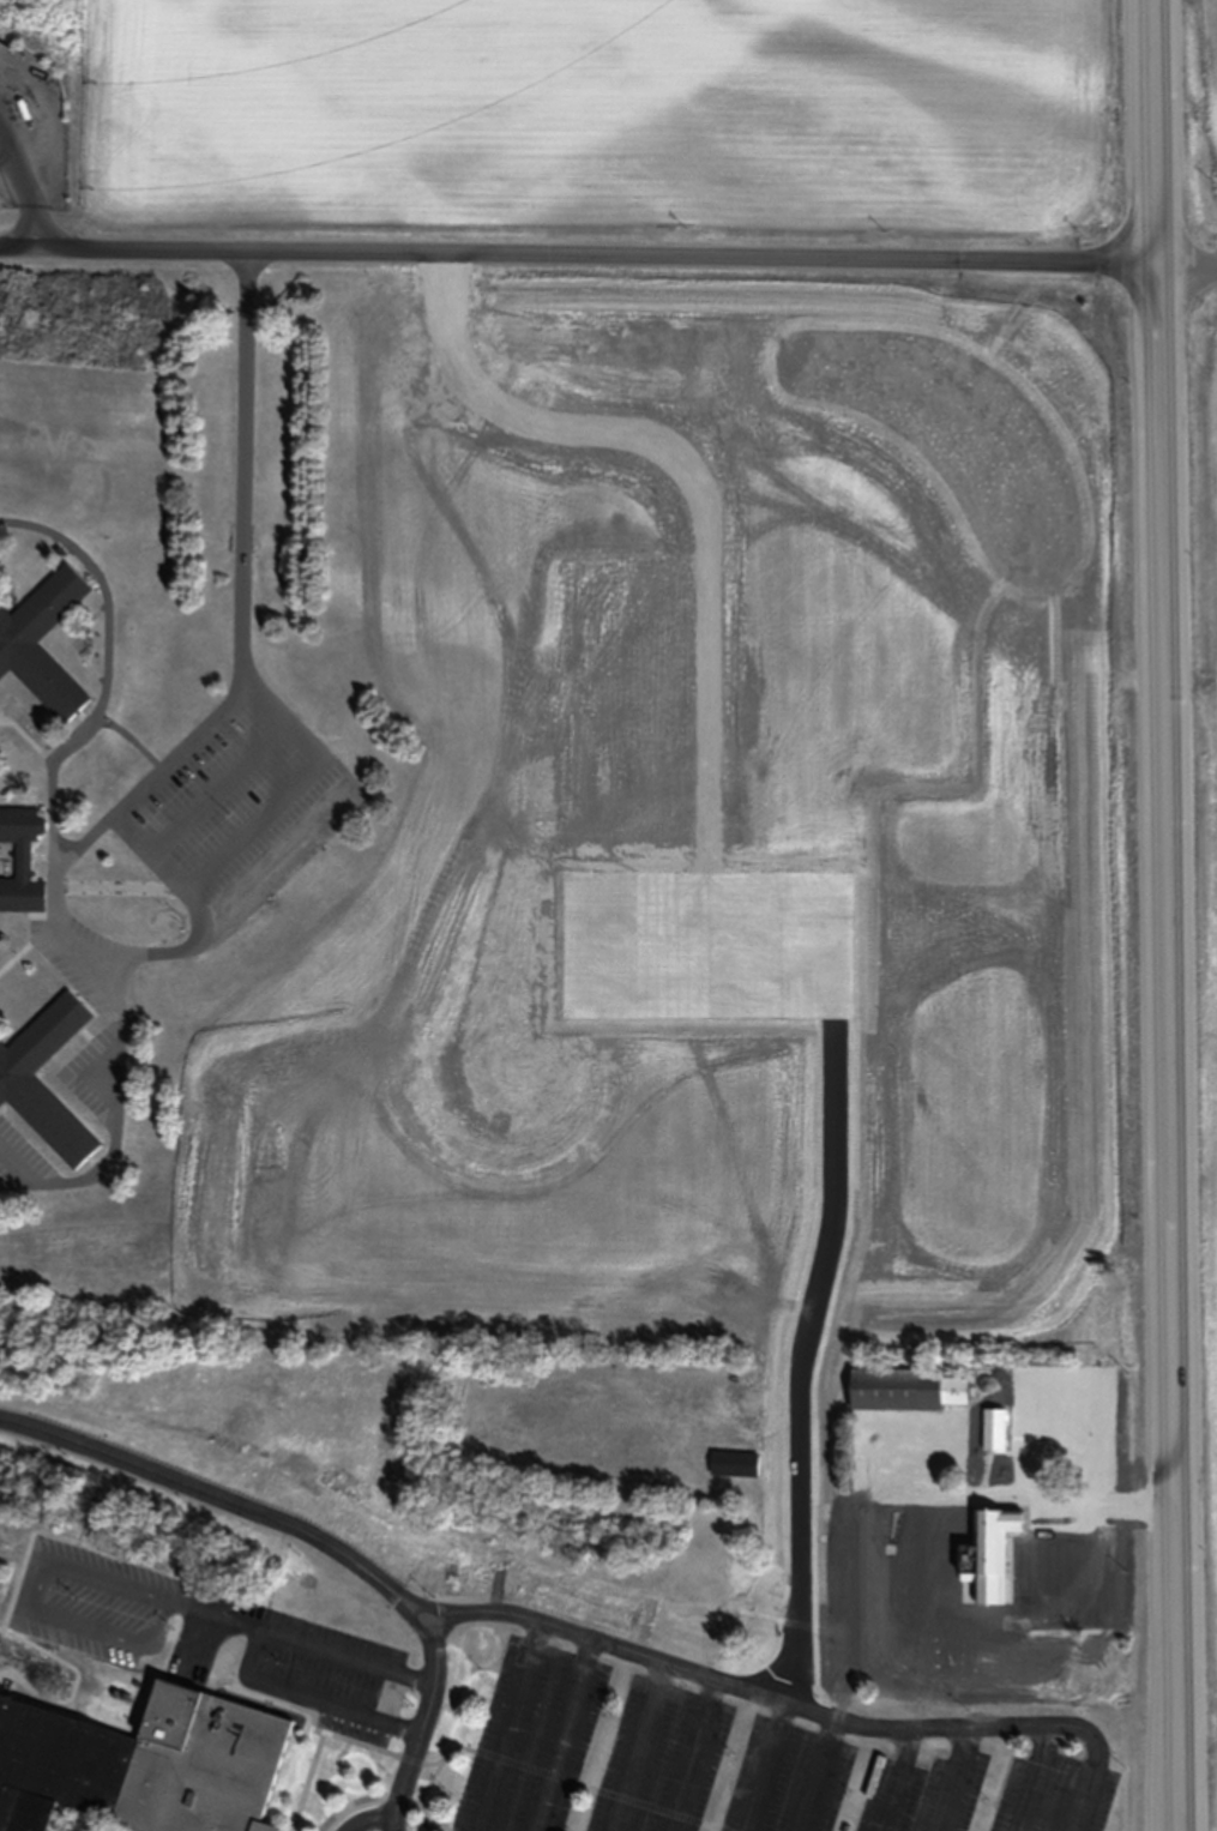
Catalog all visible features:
road: (1157, 137)
road: (0, 161)
road: (17, 207)
road: (578, 266)
road: (1187, 275)
building: (25, 630)
road: (94, 829)
building: (19, 861)
road: (1168, 1053)
building: (23, 1088)
road: (114, 1121)
building: (910, 1390)
building: (1053, 1438)
building: (735, 1463)
road: (326, 1546)
building: (998, 1552)
road: (151, 1594)
parking lot: (222, 1640)
road: (313, 1699)
road: (776, 1701)
road: (525, 1730)
road: (576, 1737)
road: (360, 1743)
road: (646, 1748)
road: (699, 1757)
parking lot: (743, 1766)
road: (772, 1769)
building: (146, 1772)
road: (830, 1778)
road: (964, 1779)
road: (1049, 1779)
road: (905, 1781)
road: (1089, 1797)
road: (390, 1799)
road: (374, 1823)

